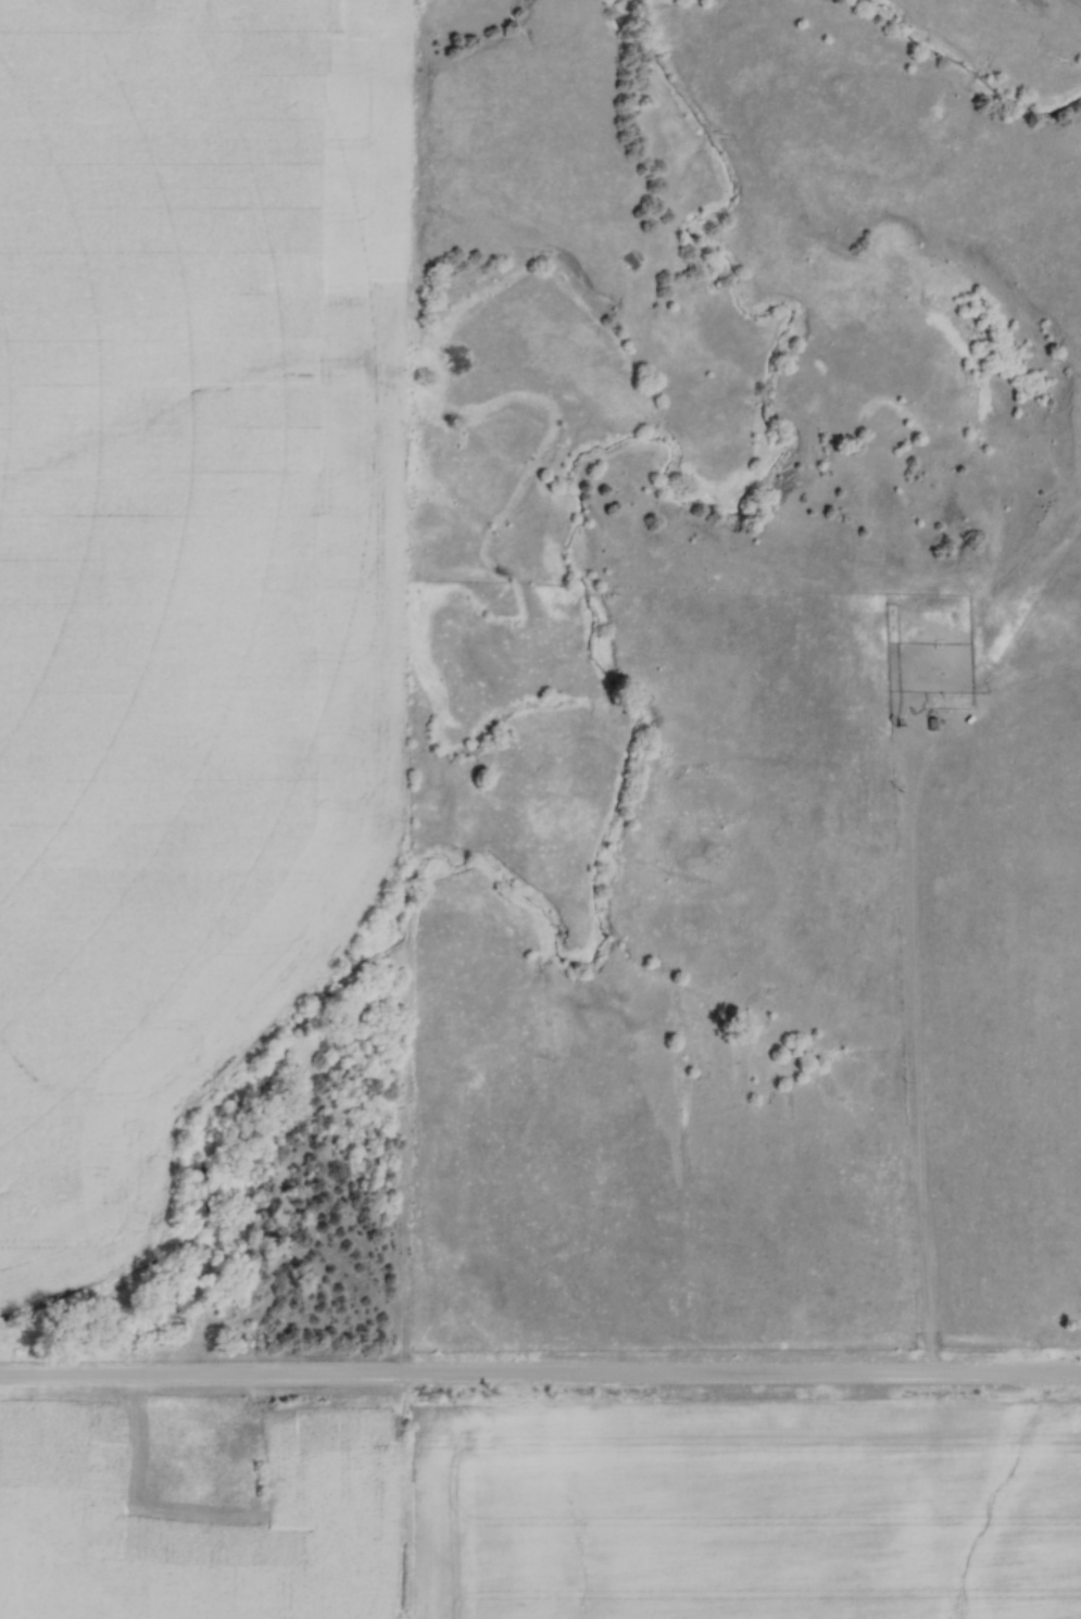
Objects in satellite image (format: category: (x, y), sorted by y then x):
road: (540, 1373)

